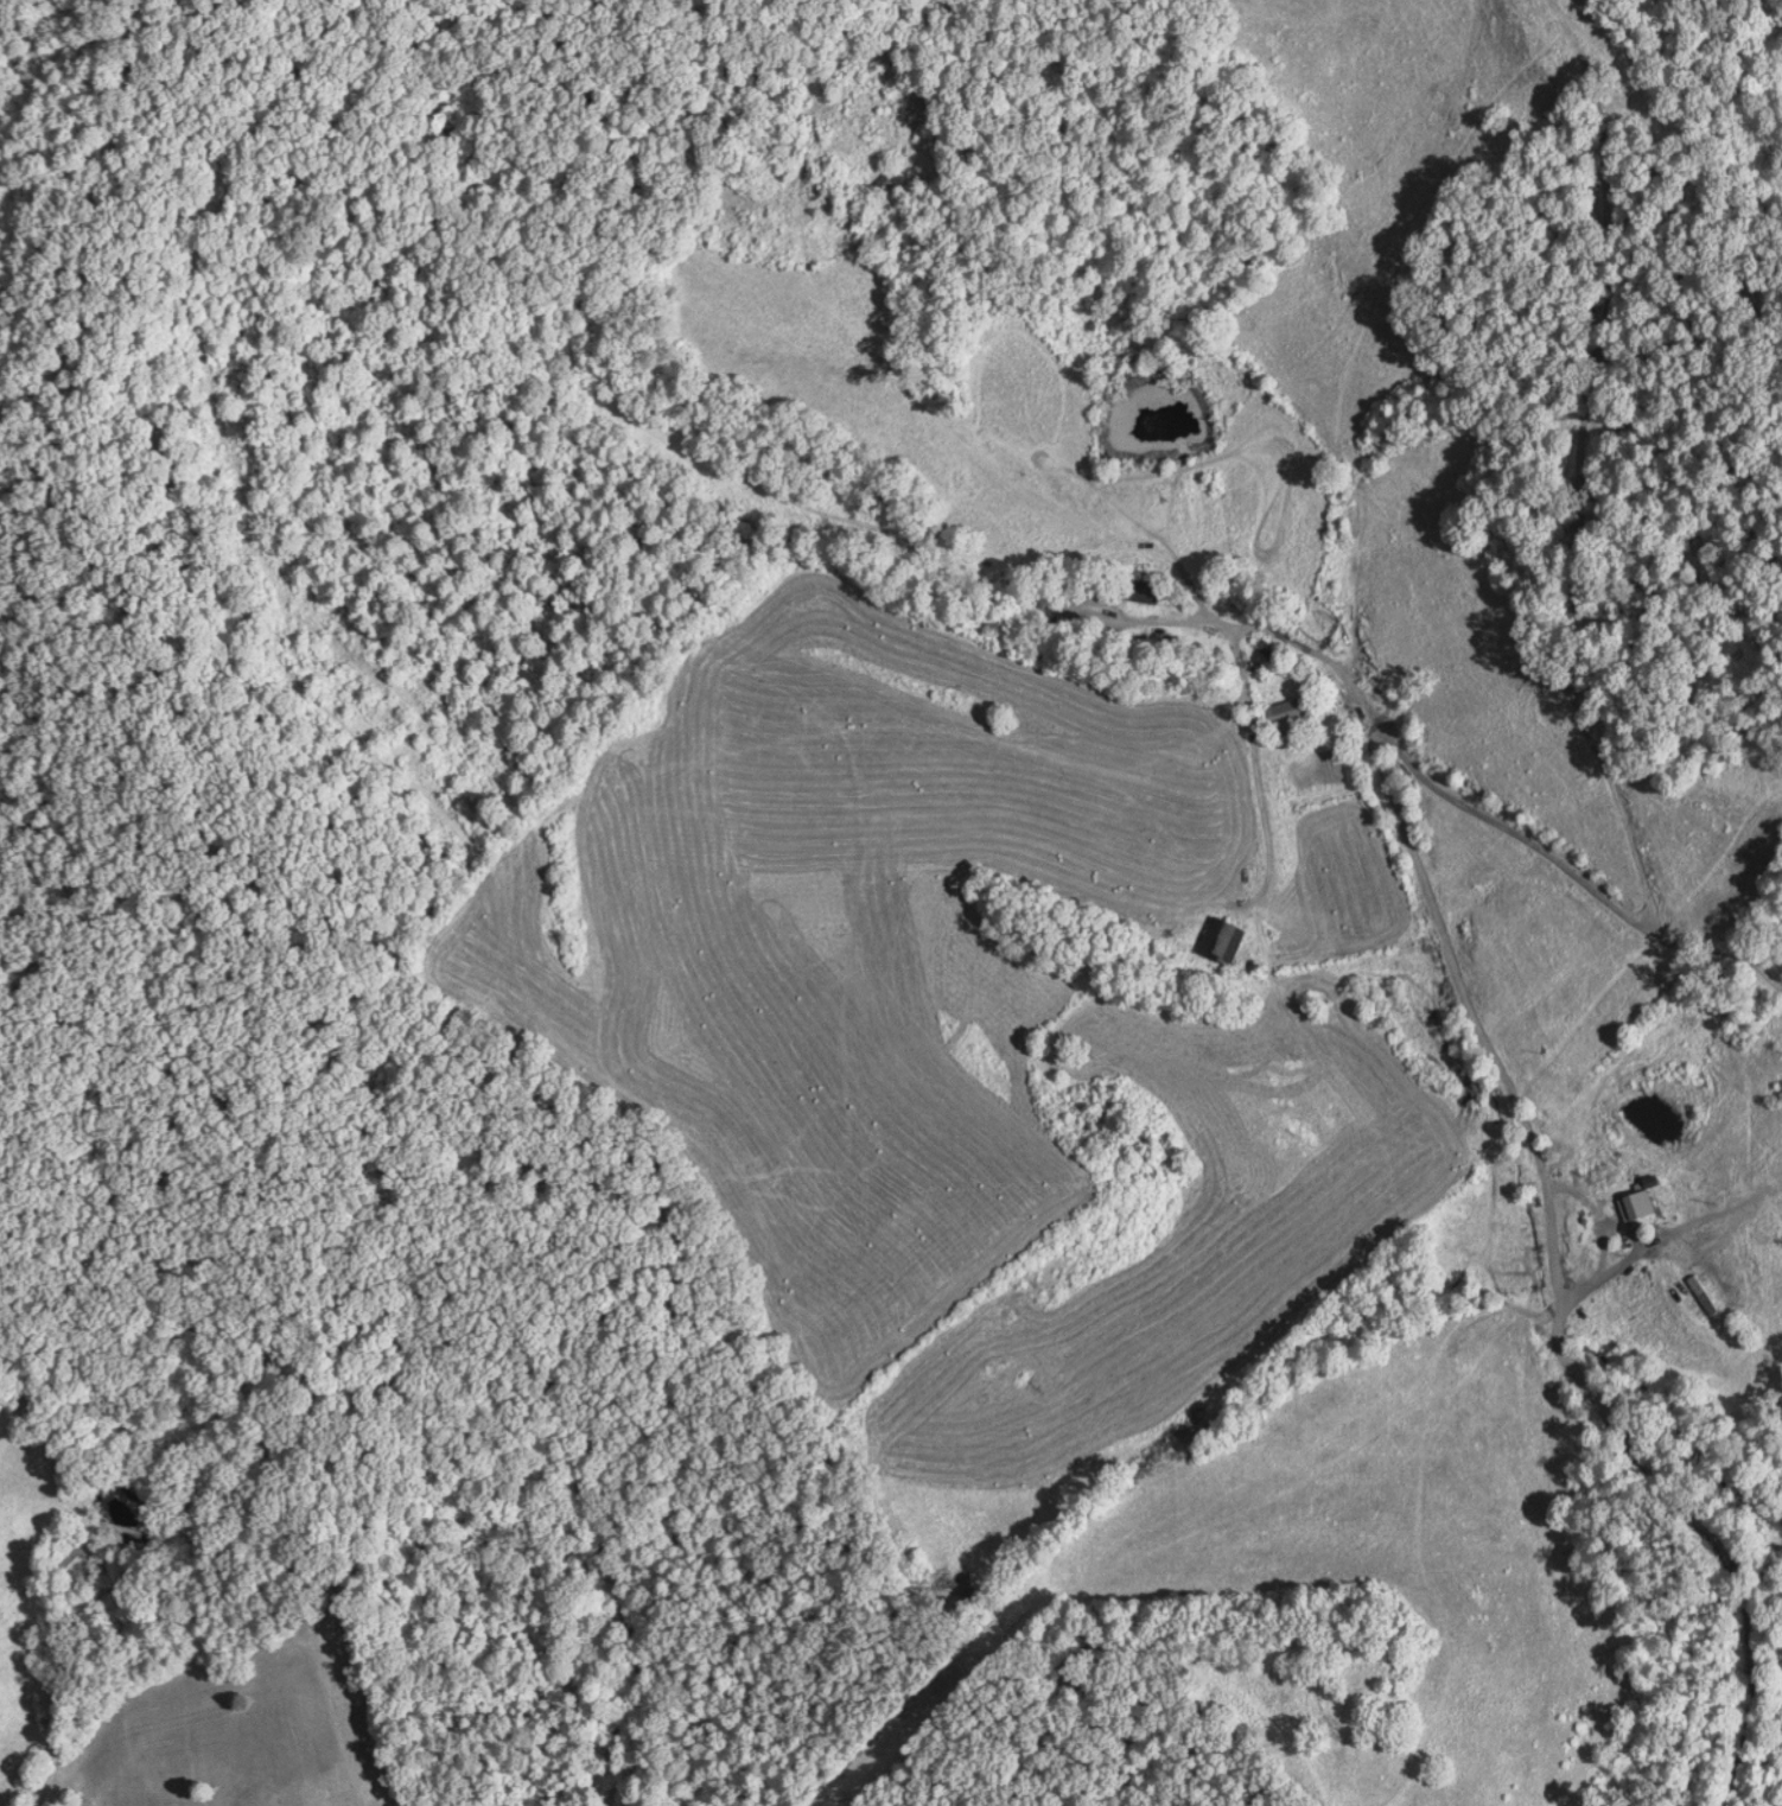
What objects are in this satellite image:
building: (883, 182)
building: (1138, 589)
building: (1283, 716)
building: (1220, 940)
building: (1636, 1204)

